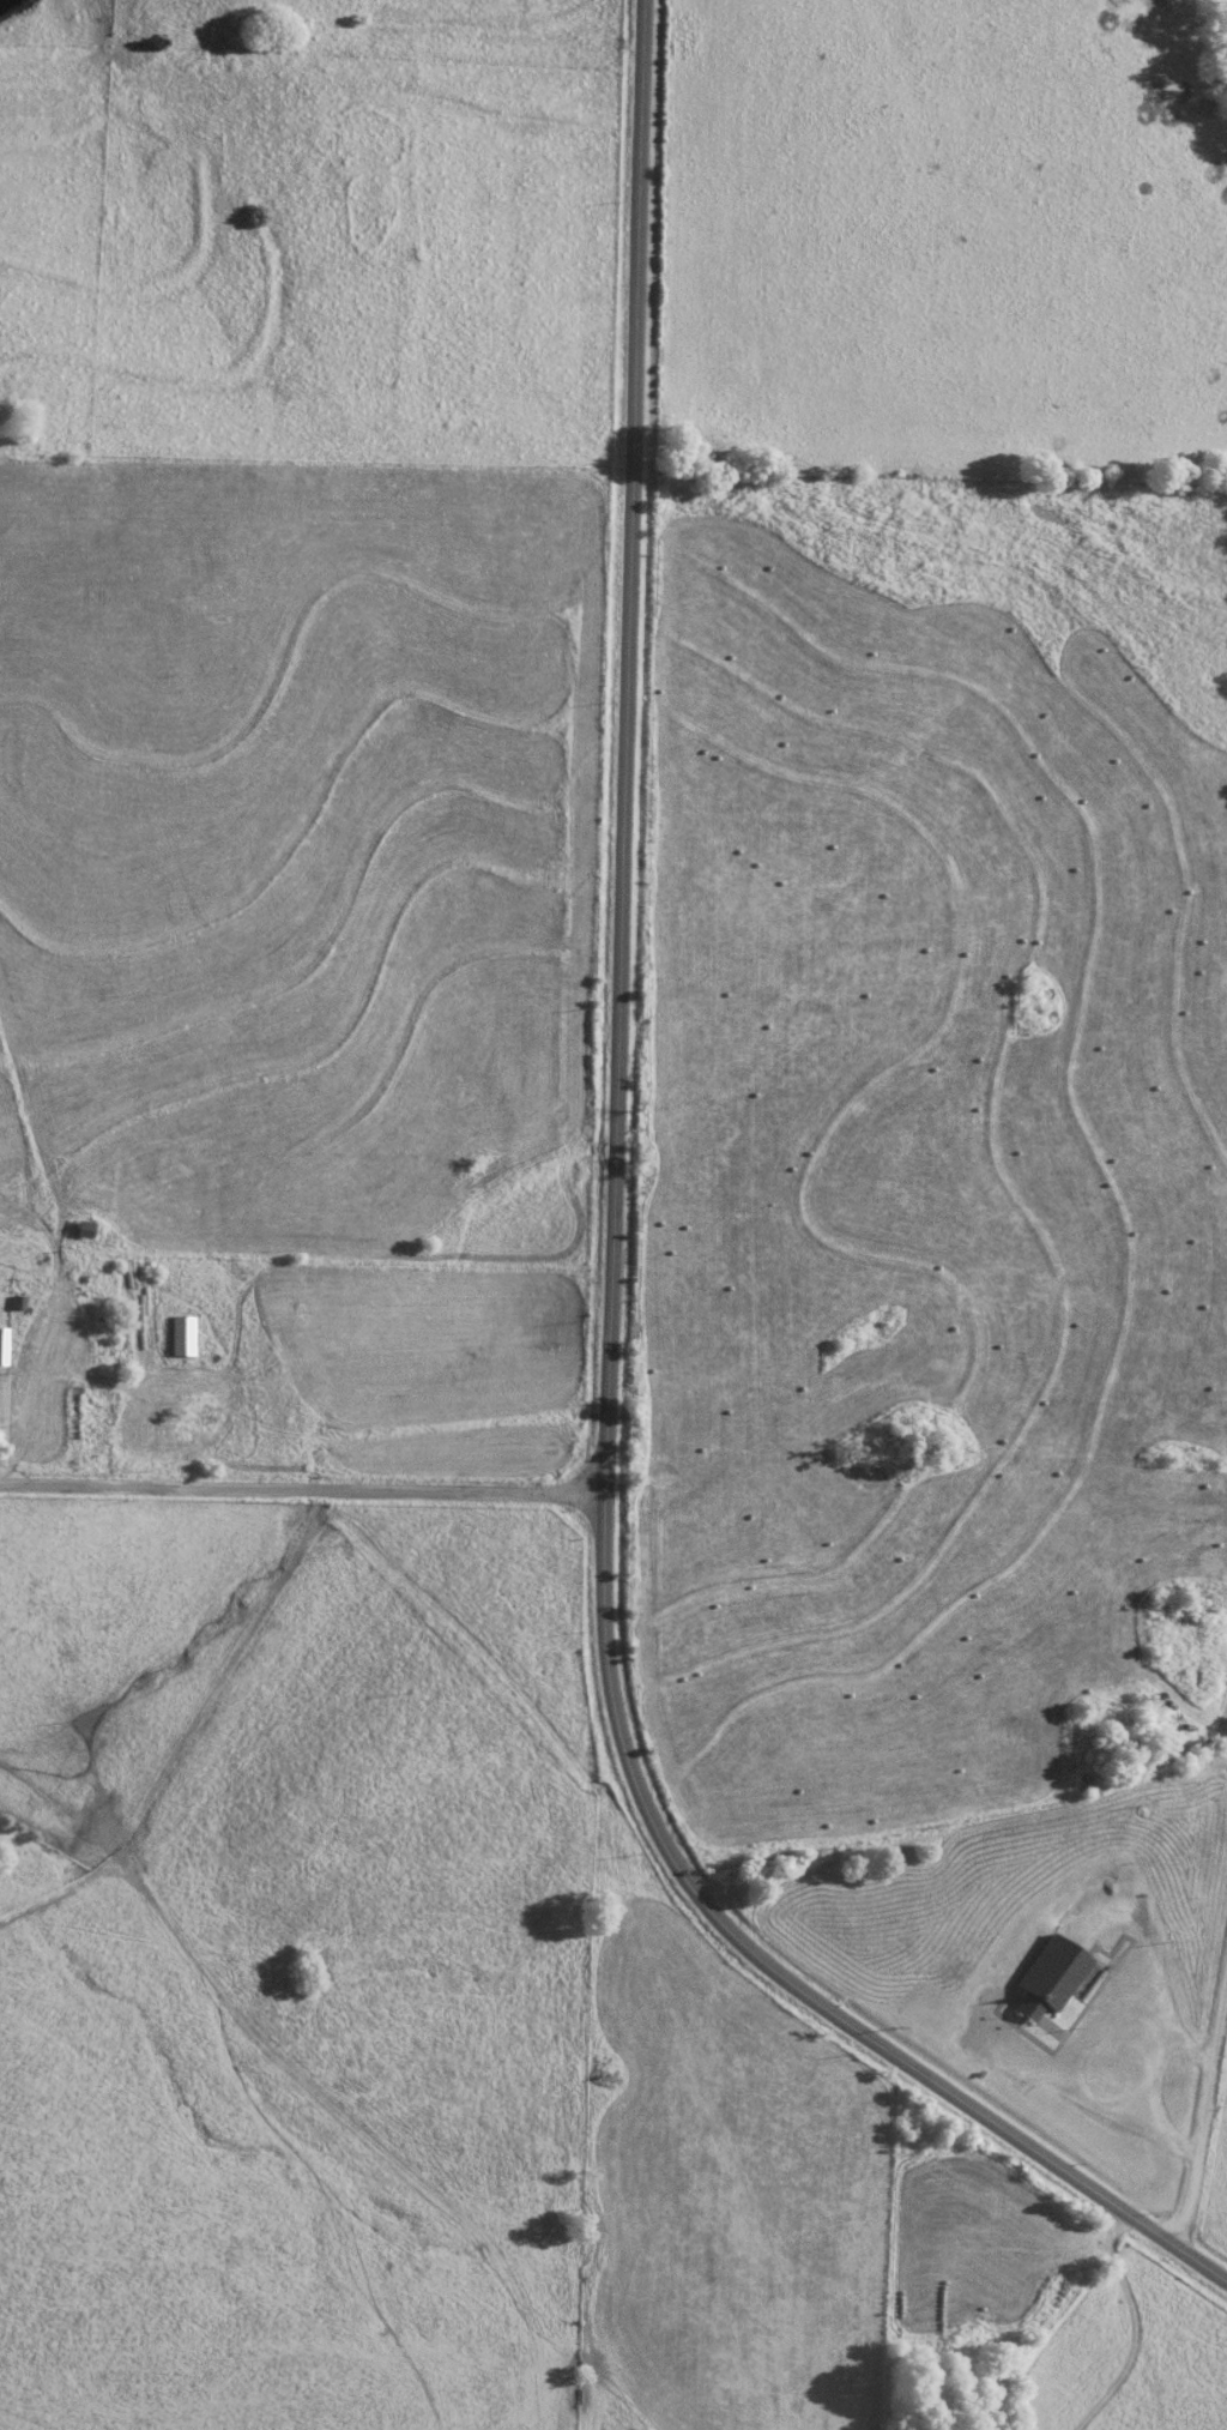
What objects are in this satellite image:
road: (611, 1286)
building: (181, 1337)
building: (4, 1346)
road: (302, 1491)
building: (1197, 1680)
building: (1047, 1977)
road: (1207, 2121)

